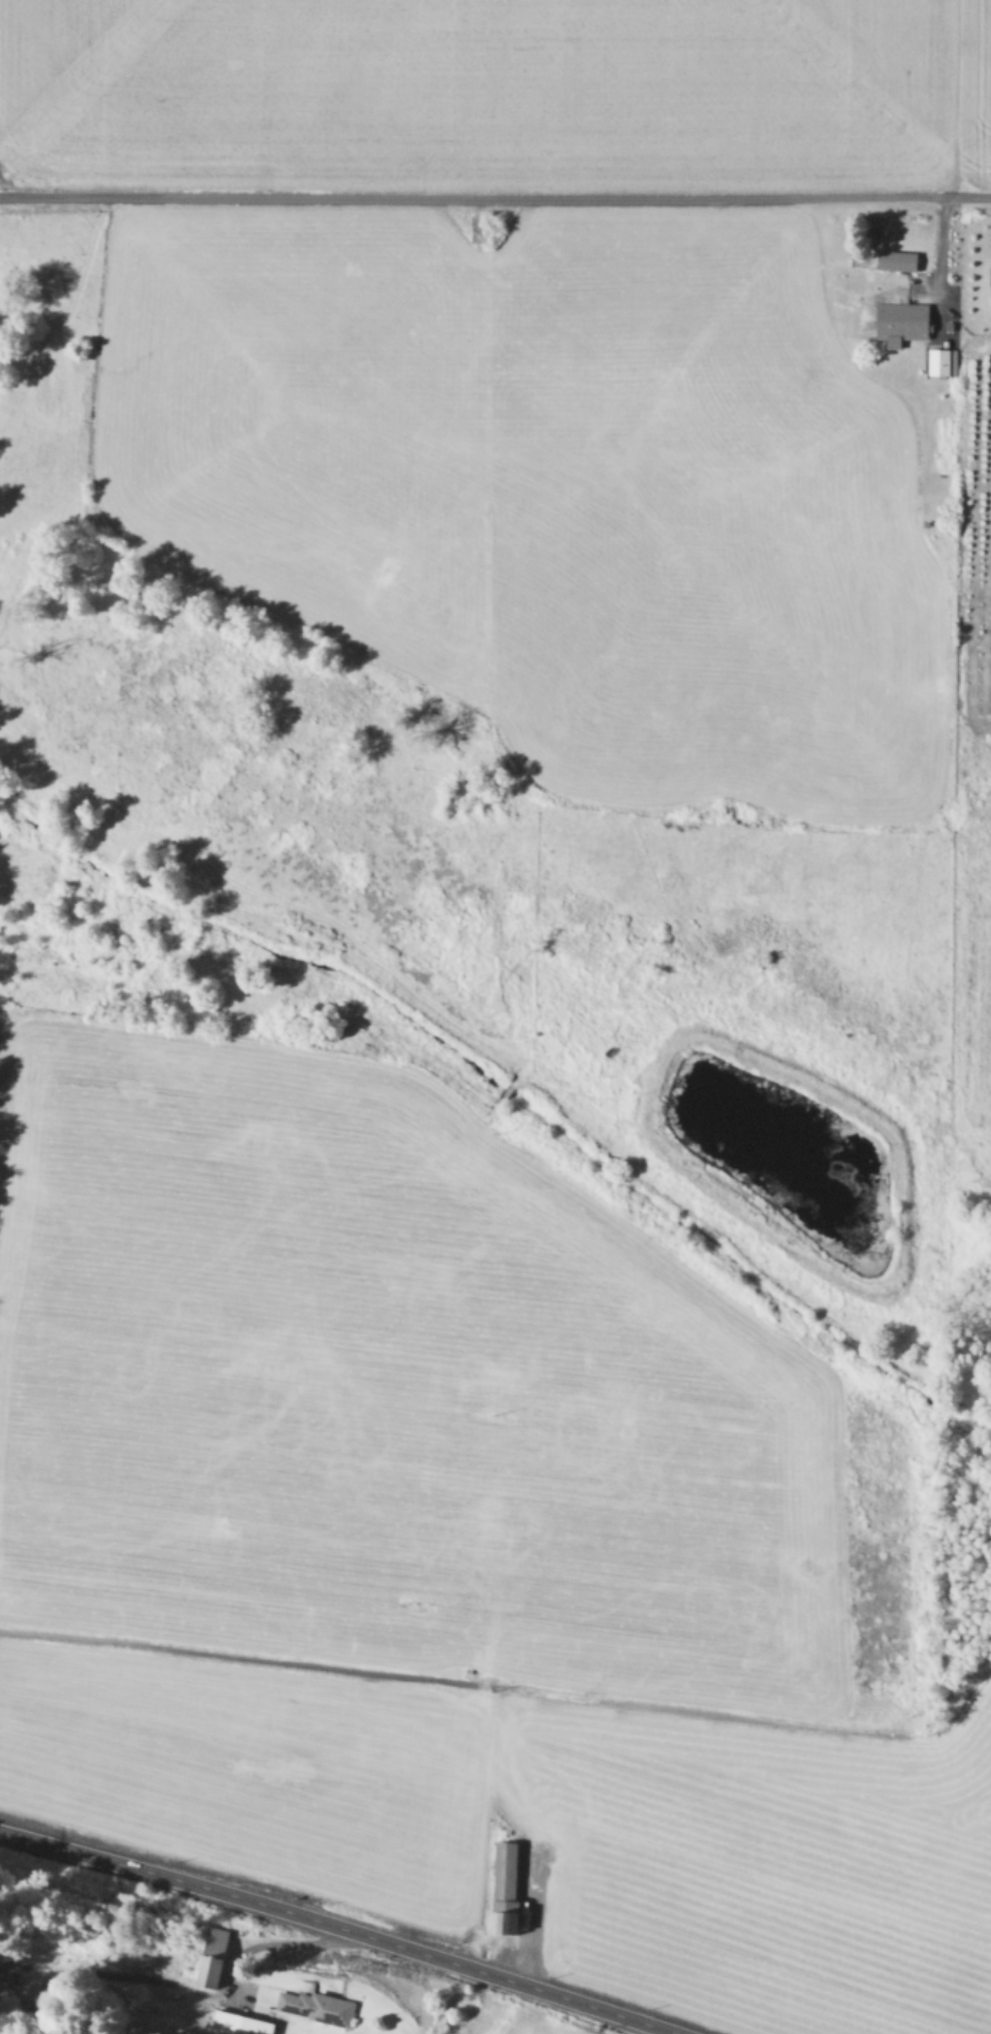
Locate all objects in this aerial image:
road: (495, 197)
road: (943, 252)
building: (894, 260)
building: (989, 287)
building: (899, 322)
building: (942, 361)
crop: (505, 976)
building: (511, 1887)
road: (339, 1928)
road: (263, 1942)
building: (217, 1956)
building: (319, 2006)
building: (240, 2023)

